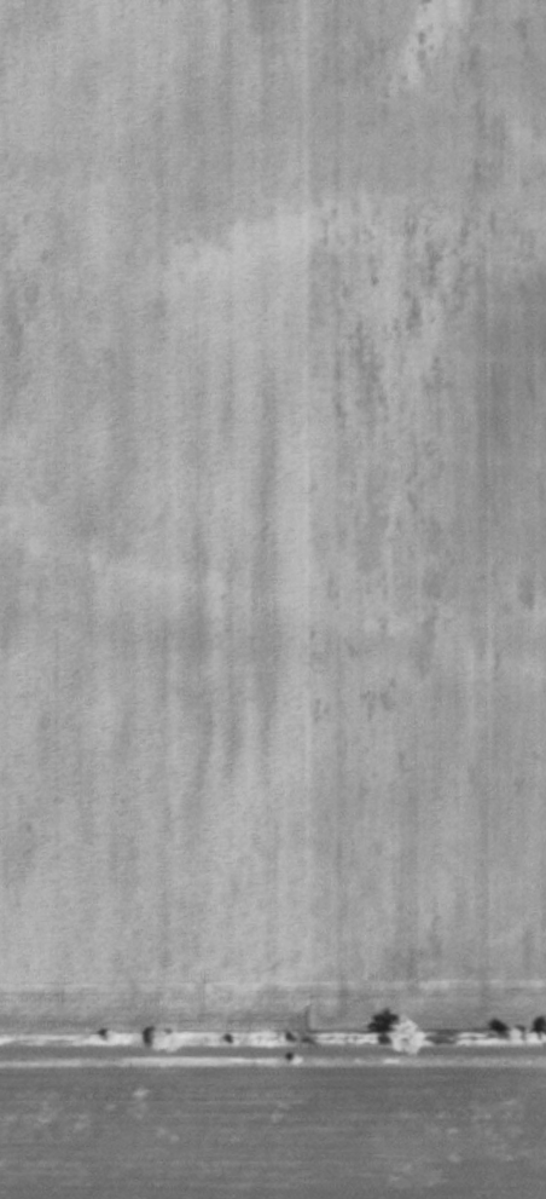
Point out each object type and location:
road: (273, 1049)

